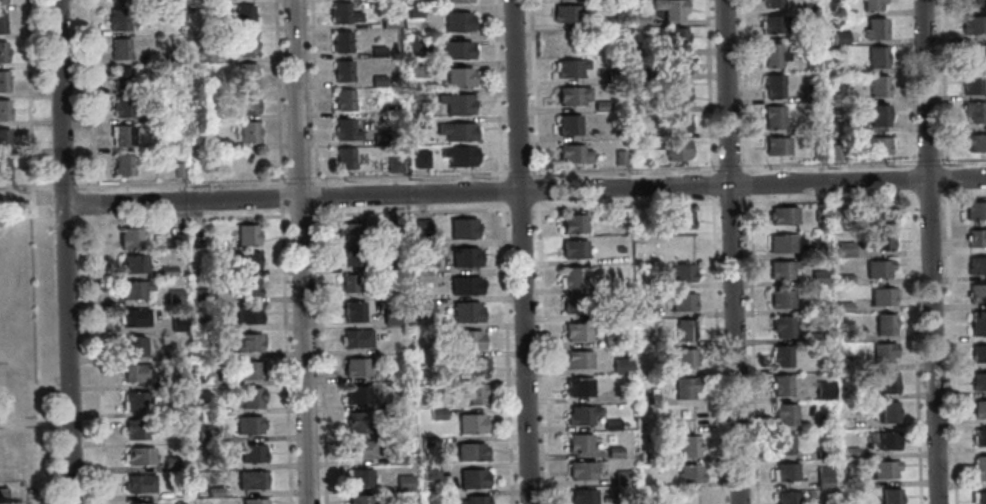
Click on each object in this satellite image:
building: (117, 0)
building: (459, 0)
building: (200, 1)
building: (1, 2)
building: (771, 3)
building: (969, 3)
building: (871, 5)
building: (808, 6)
building: (669, 8)
building: (415, 11)
building: (339, 12)
building: (567, 12)
building: (243, 15)
building: (118, 19)
building: (638, 19)
building: (388, 20)
building: (457, 21)
building: (611, 21)
building: (1, 22)
building: (770, 23)
building: (973, 25)
building: (873, 28)
building: (809, 33)
building: (679, 37)
building: (839, 37)
building: (341, 41)
building: (415, 43)
building: (244, 44)
building: (119, 48)
building: (456, 49)
building: (2, 51)
building: (377, 52)
building: (974, 53)
building: (772, 54)
building: (204, 55)
building: (876, 56)
building: (811, 63)
building: (675, 65)
building: (837, 65)
building: (570, 67)
building: (419, 69)
building: (342, 70)
building: (614, 71)
building: (246, 73)
building: (120, 77)
building: (459, 77)
building: (2, 80)
building: (378, 80)
building: (970, 82)
building: (156, 83)
road: (941, 83)
road: (906, 84)
building: (213, 85)
building: (772, 85)
building: (878, 85)
road: (743, 86)
road: (707, 87)
road: (532, 89)
road: (496, 90)
road: (277, 93)
road: (312, 93)
building: (810, 93)
building: (675, 94)
building: (416, 95)
building: (570, 95)
road: (91, 96)
building: (839, 98)
building: (343, 99)
building: (247, 102)
building: (457, 103)
building: (600, 105)
building: (122, 106)
building: (4, 109)
building: (390, 109)
building: (973, 111)
building: (875, 114)
building: (159, 116)
building: (772, 116)
building: (418, 122)
building: (674, 122)
building: (567, 124)
building: (839, 125)
building: (346, 129)
building: (247, 131)
building: (457, 131)
building: (591, 131)
building: (121, 136)
building: (4, 138)
building: (379, 138)
building: (975, 142)
building: (219, 143)
building: (877, 144)
building: (776, 146)
building: (674, 148)
building: (817, 151)
building: (835, 152)
building: (572, 153)
building: (459, 155)
building: (618, 156)
building: (344, 157)
building: (420, 157)
road: (862, 162)
building: (122, 164)
building: (394, 164)
road: (728, 165)
building: (3, 168)
road: (622, 168)
building: (178, 169)
road: (517, 172)
road: (290, 177)
road: (944, 178)
road: (909, 179)
road: (746, 184)
road: (710, 185)
road: (62, 186)
road: (25, 187)
road: (535, 189)
road: (524, 190)
road: (500, 191)
road: (961, 195)
road: (316, 196)
road: (280, 197)
road: (927, 197)
road: (828, 199)
road: (729, 202)
road: (94, 203)
road: (513, 208)
building: (975, 209)
road: (281, 212)
building: (819, 212)
building: (878, 213)
road: (298, 215)
building: (783, 215)
road: (180, 218)
building: (679, 219)
road: (42, 223)
road: (63, 223)
building: (572, 223)
building: (397, 226)
building: (422, 226)
building: (462, 228)
building: (354, 230)
building: (245, 234)
building: (128, 237)
building: (976, 237)
building: (178, 240)
building: (879, 240)
building: (783, 243)
building: (683, 247)
building: (573, 248)
building: (619, 249)
building: (844, 249)
building: (421, 250)
road: (65, 251)
road: (300, 251)
road: (520, 251)
road: (929, 251)
road: (32, 252)
road: (730, 252)
building: (352, 256)
building: (464, 256)
building: (244, 260)
building: (134, 263)
building: (397, 263)
building: (977, 264)
building: (780, 268)
building: (877, 268)
building: (210, 269)
building: (168, 270)
building: (681, 272)
building: (574, 276)
building: (816, 276)
building: (843, 278)
building: (421, 279)
building: (353, 282)
building: (464, 285)
building: (616, 285)
building: (246, 286)
building: (134, 288)
building: (977, 292)
building: (198, 295)
building: (175, 296)
building: (881, 296)
building: (780, 299)
building: (681, 301)
building: (574, 303)
building: (423, 305)
building: (821, 307)
building: (842, 307)
building: (643, 310)
building: (352, 311)
building: (465, 311)
building: (247, 313)
building: (608, 313)
building: (134, 316)
building: (390, 316)
building: (178, 323)
building: (883, 323)
building: (977, 323)
building: (212, 324)
building: (781, 326)
building: (683, 328)
building: (433, 331)
building: (576, 331)
building: (818, 336)
building: (848, 336)
building: (355, 338)
building: (467, 339)
building: (609, 340)
building: (245, 341)
building: (133, 345)
road: (914, 346)
road: (949, 347)
road: (714, 349)
road: (751, 349)
building: (206, 351)
road: (541, 351)
road: (505, 352)
building: (881, 352)
building: (978, 353)
road: (321, 355)
building: (780, 355)
building: (684, 356)
road: (99, 358)
building: (576, 359)
road: (285, 360)
building: (424, 361)
building: (474, 365)
building: (354, 366)
building: (621, 366)
building: (248, 370)
building: (136, 372)
building: (205, 377)
building: (979, 381)
building: (886, 382)
building: (779, 385)
building: (578, 386)
building: (684, 387)
building: (823, 390)
building: (857, 393)
building: (355, 394)
building: (473, 394)
building: (250, 397)
building: (135, 399)
building: (648, 399)
building: (979, 408)
building: (171, 409)
building: (885, 411)
building: (784, 413)
building: (435, 414)
building: (580, 414)
building: (821, 421)
building: (356, 422)
building: (248, 423)
building: (469, 423)
building: (610, 424)
building: (135, 428)
building: (205, 430)
building: (979, 436)
building: (880, 440)
building: (578, 442)
building: (781, 443)
building: (687, 445)
building: (358, 448)
building: (469, 451)
building: (613, 451)
building: (849, 451)
building: (250, 452)
building: (822, 453)
building: (139, 455)
building: (394, 457)
building: (652, 458)
building: (169, 463)
building: (979, 468)
building: (883, 469)
building: (580, 470)
building: (428, 471)
building: (783, 471)
building: (688, 473)
building: (823, 476)
building: (358, 477)
building: (621, 477)
building: (471, 478)
building: (252, 479)
building: (851, 481)
building: (403, 482)
building: (139, 483)
building: (213, 491)
building: (179, 493)
building: (4, 496)
building: (581, 496)
building: (889, 496)
building: (441, 497)
building: (786, 497)
building: (978, 497)
building: (357, 499)
building: (472, 500)
building: (253, 501)
building: (140, 503)
building: (620, 503)
building: (821, 503)

